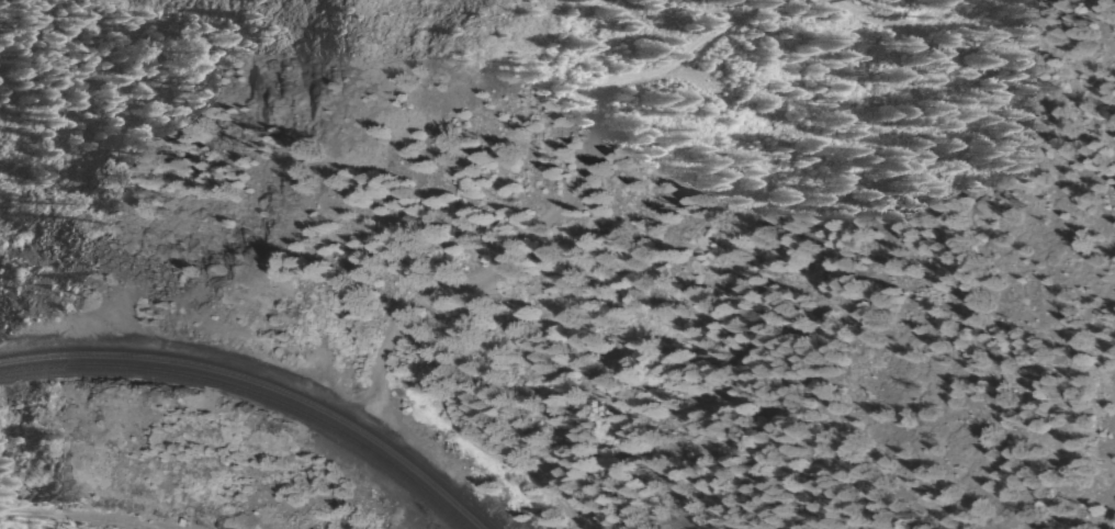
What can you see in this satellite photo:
road: (892, 27)
road: (567, 198)
railway: (260, 382)
railway: (250, 392)
road: (474, 442)

